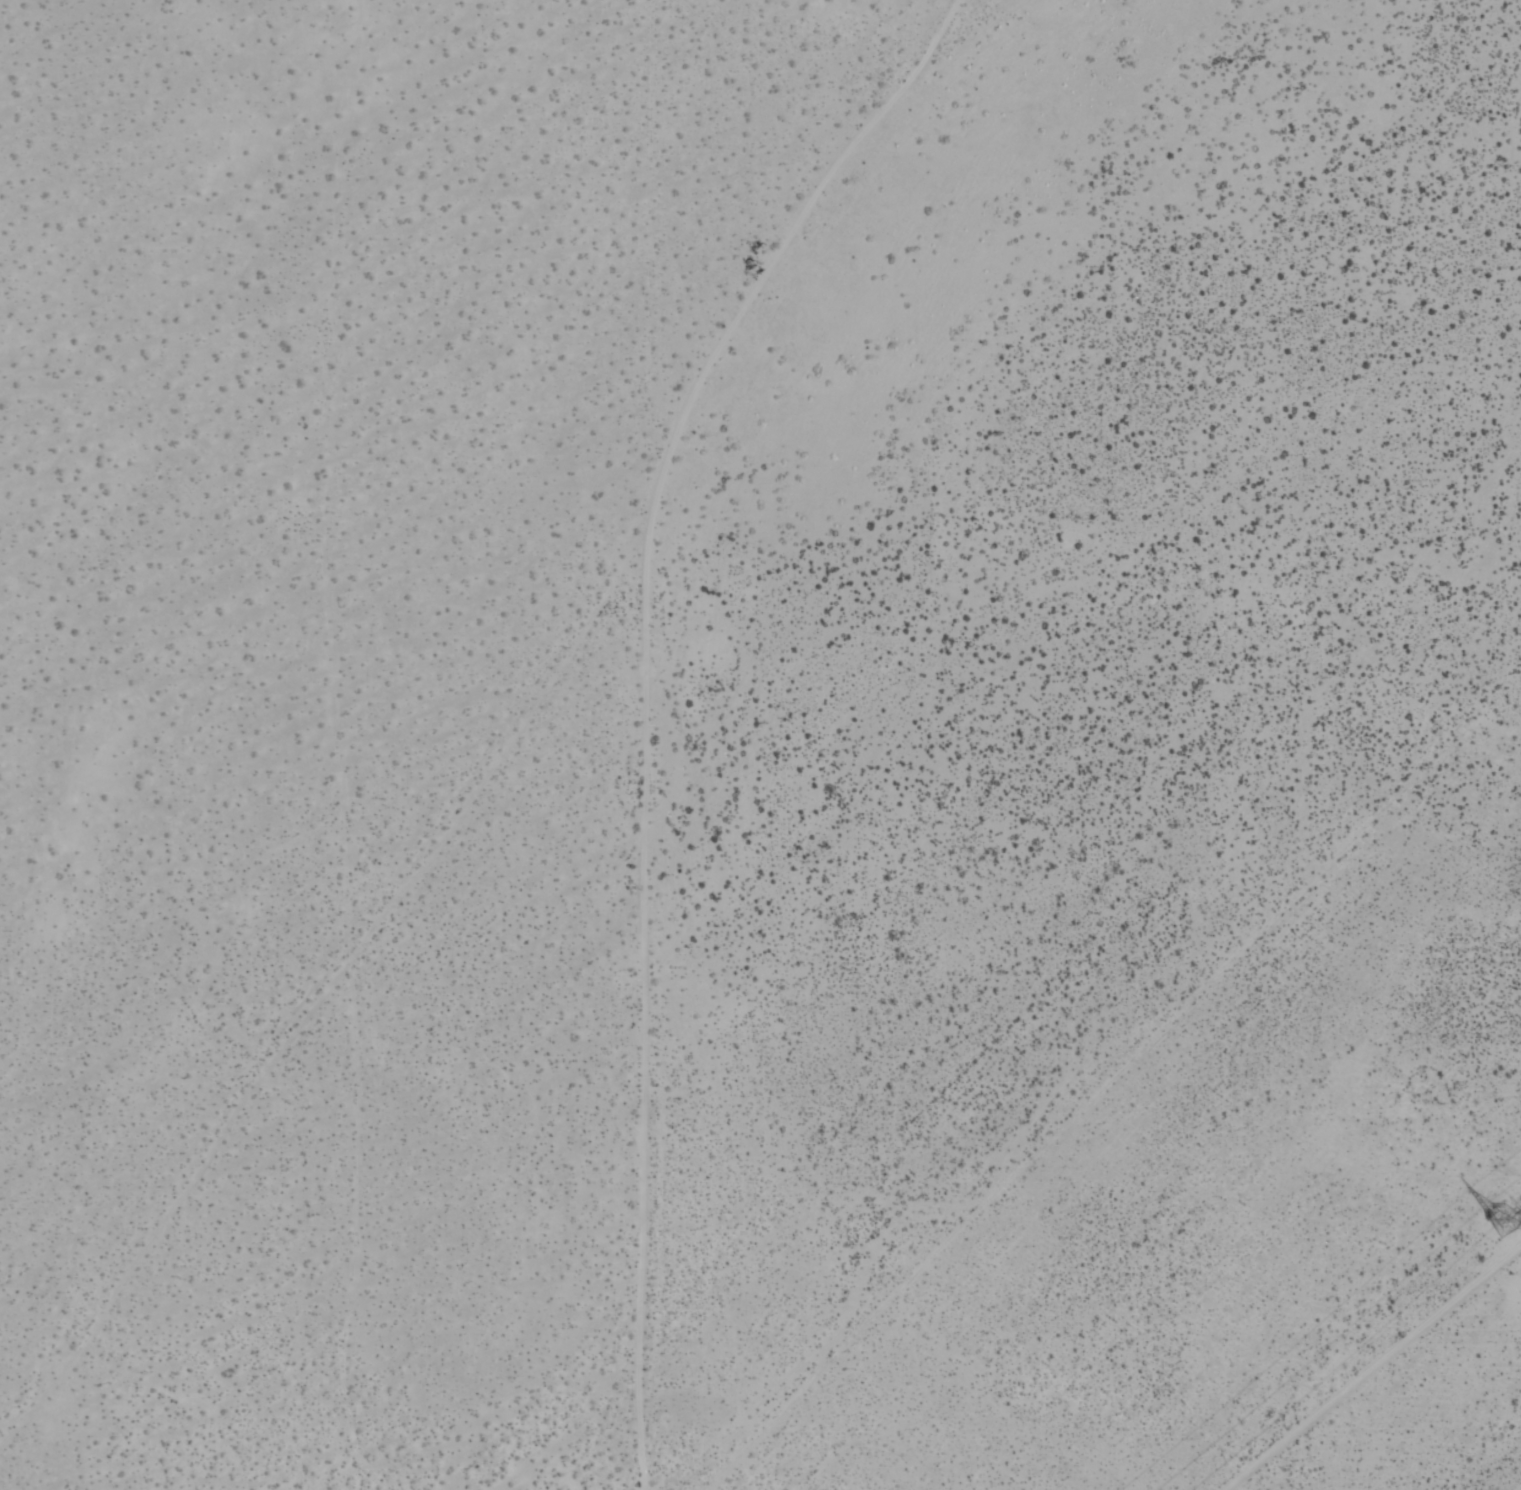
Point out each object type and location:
power tower: (1499, 1222)

